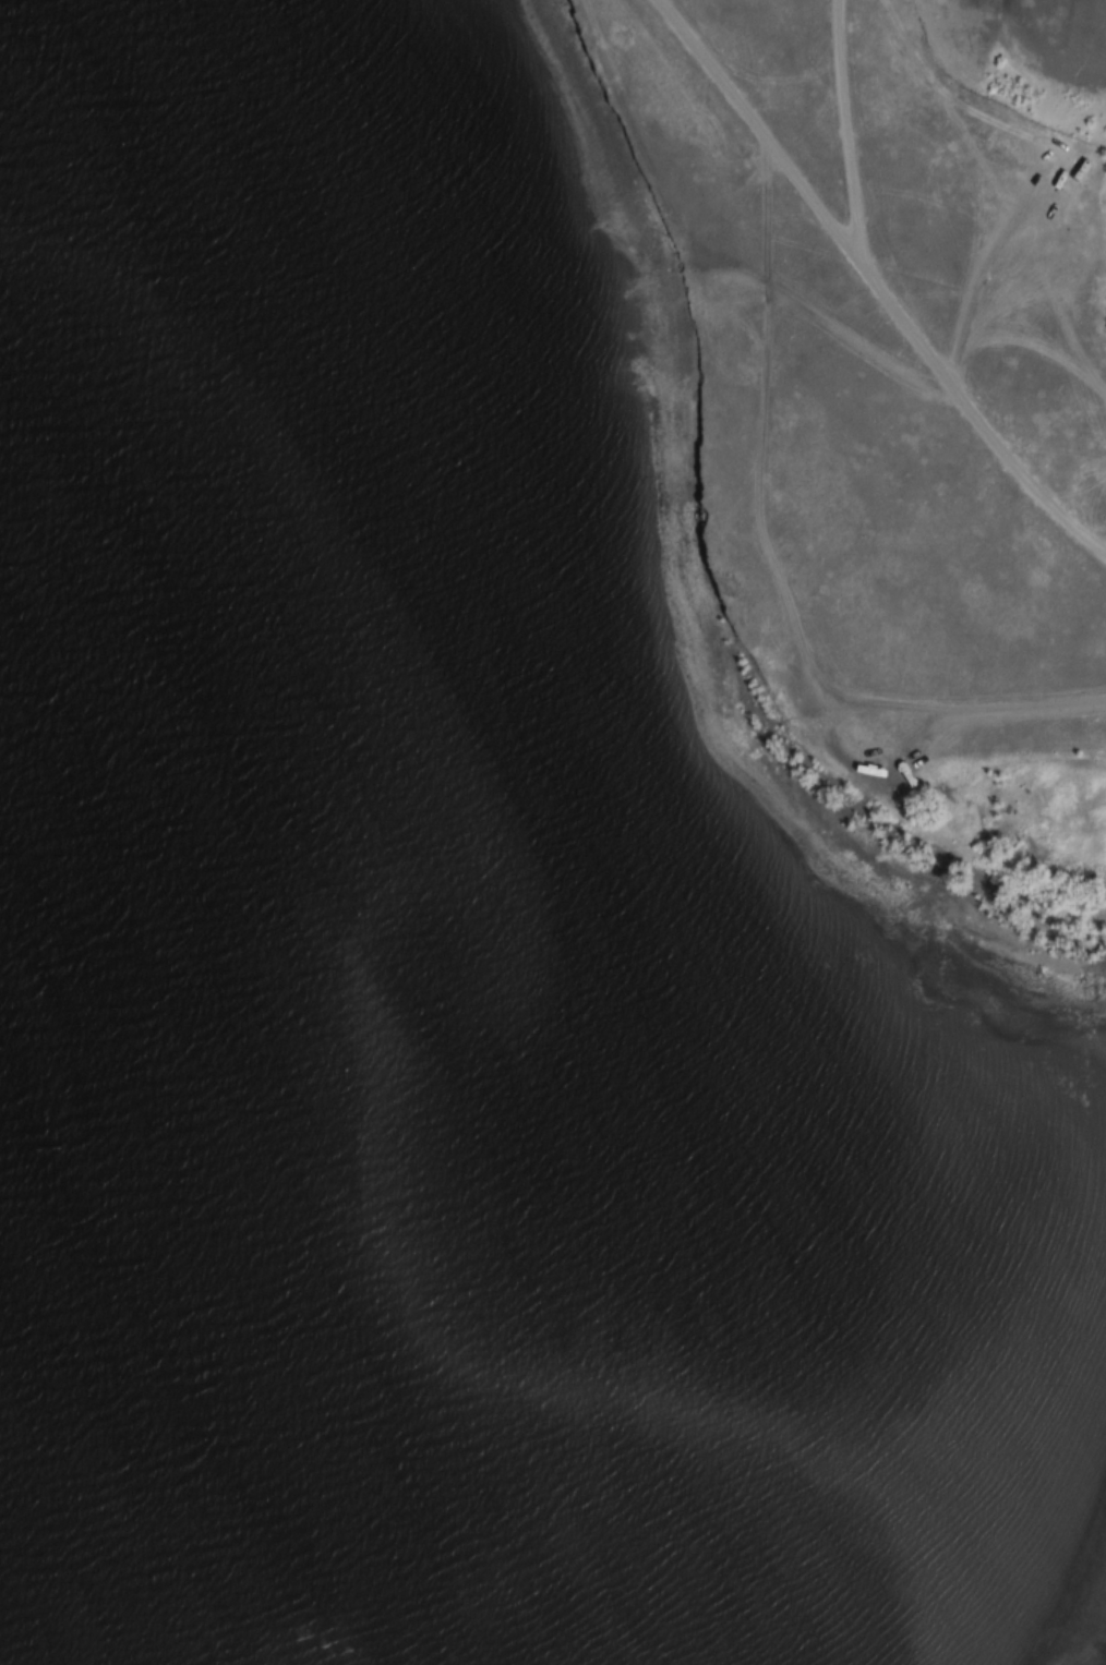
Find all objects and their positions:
road: (752, 117)
road: (845, 117)
road: (955, 407)

